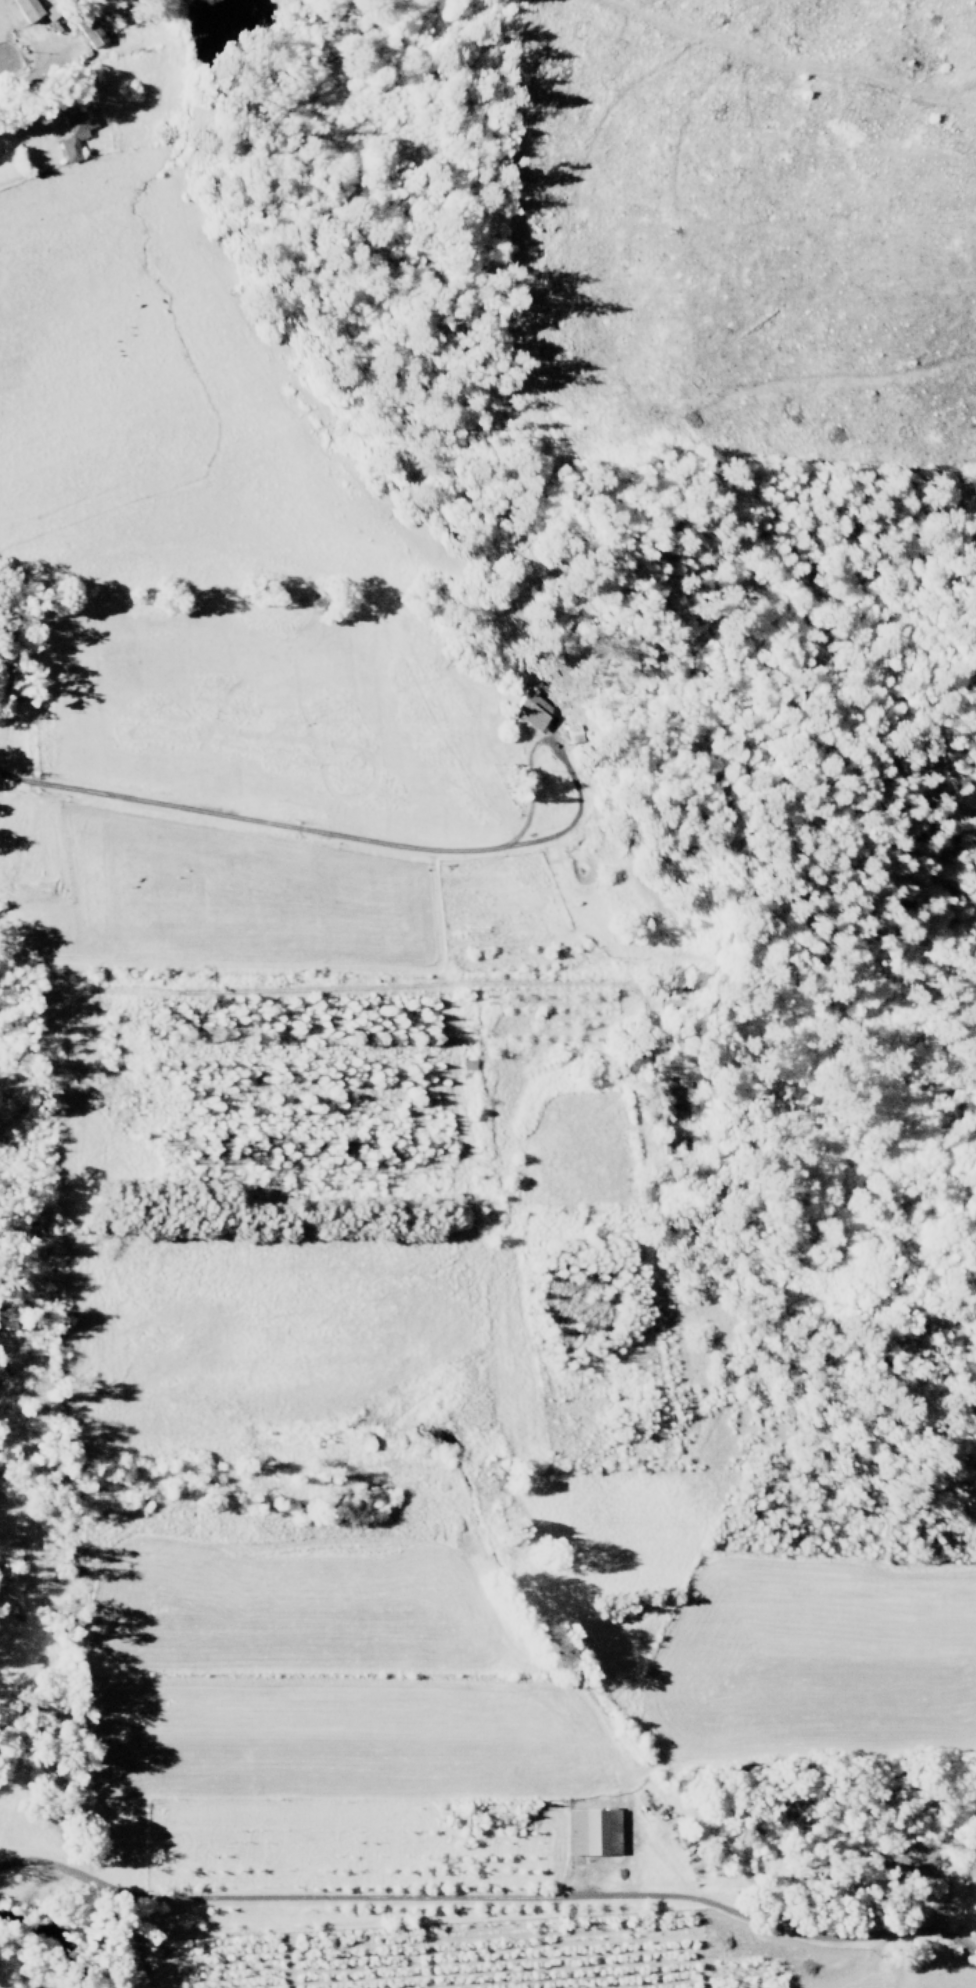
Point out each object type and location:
building: (31, 9)
building: (53, 14)
building: (92, 32)
building: (77, 133)
building: (536, 709)
road: (335, 836)
road: (340, 990)
building: (675, 1093)
building: (594, 1832)
road: (491, 1896)

